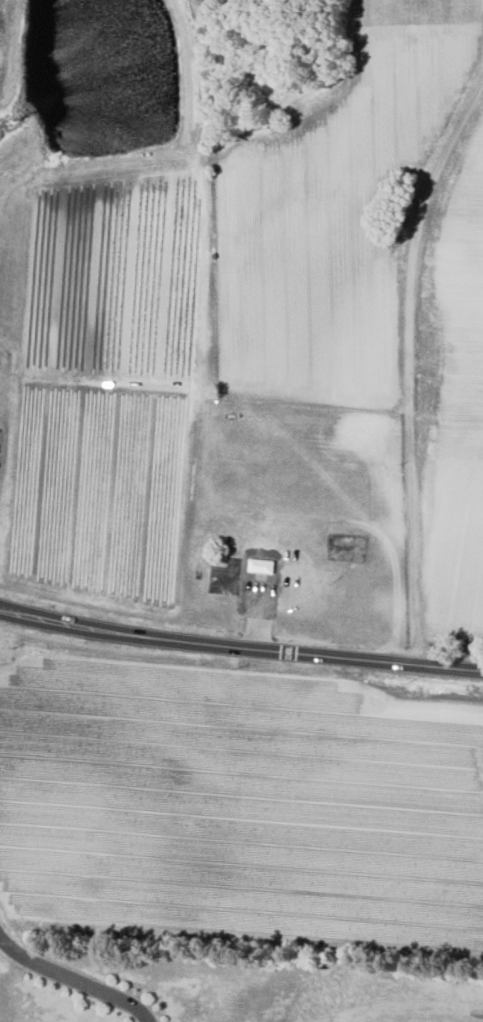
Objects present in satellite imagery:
road: (409, 365)
road: (240, 647)
road: (73, 981)

